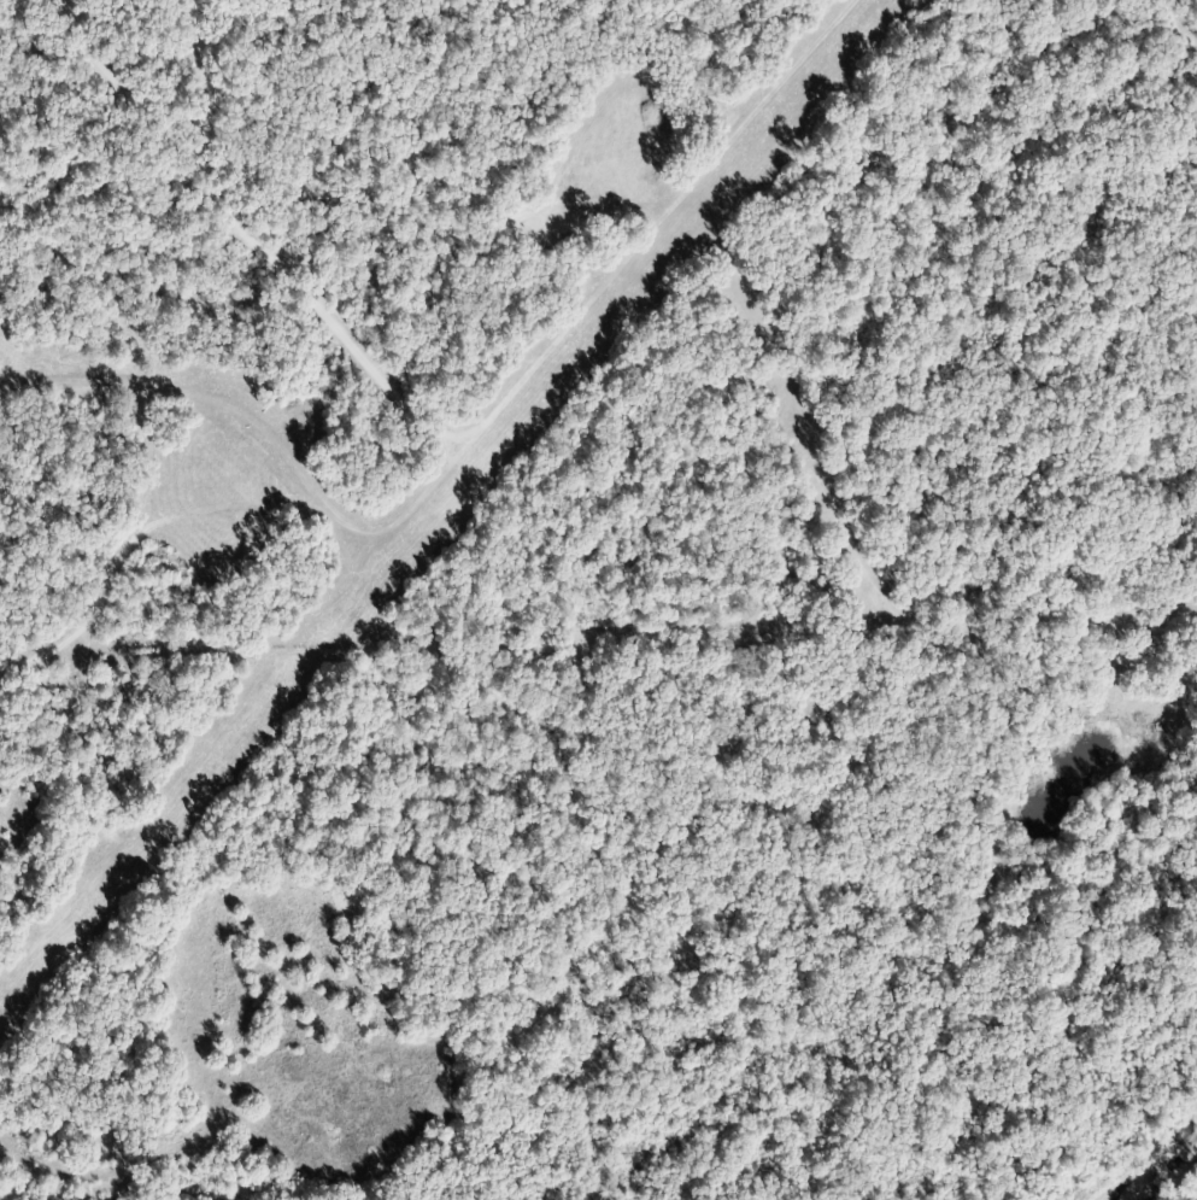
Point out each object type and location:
road: (141, 1151)

